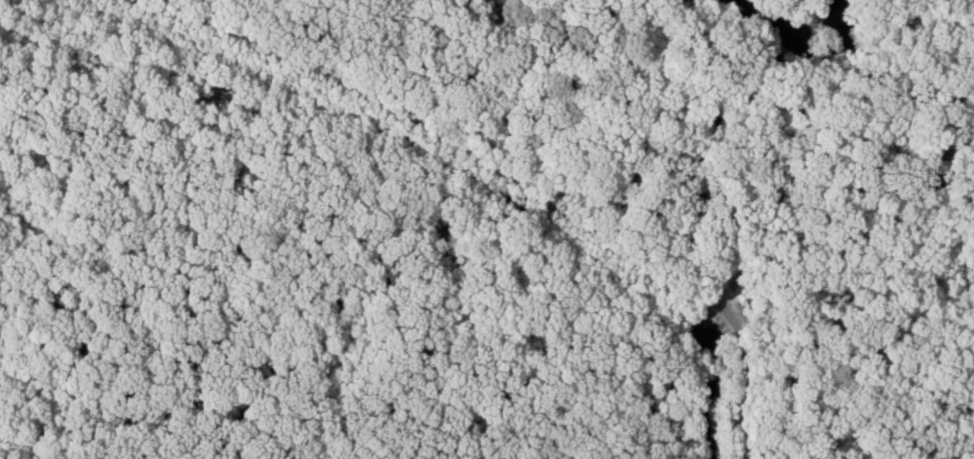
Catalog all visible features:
road: (516, 180)

